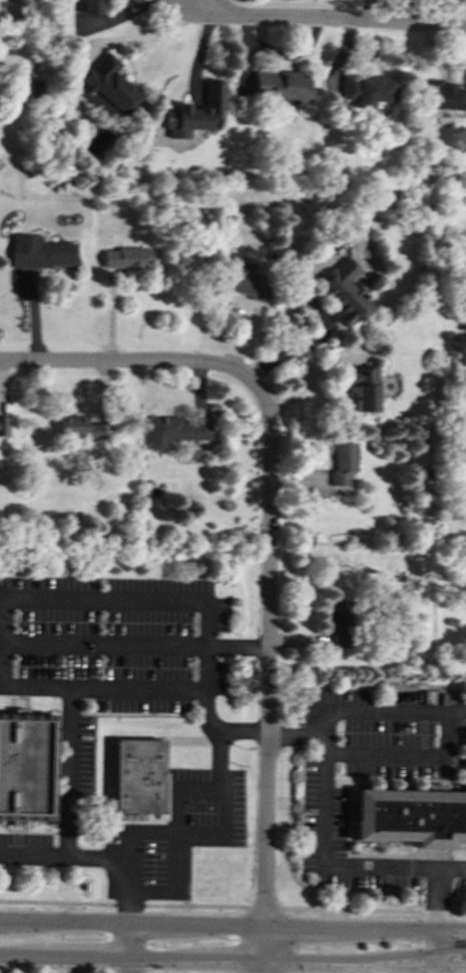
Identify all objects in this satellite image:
building: (95, 6)
road: (368, 11)
road: (332, 20)
building: (281, 85)
building: (107, 87)
building: (367, 90)
building: (443, 96)
building: (199, 110)
building: (178, 132)
building: (41, 252)
building: (126, 257)
building: (246, 283)
building: (344, 292)
road: (131, 362)
building: (363, 386)
building: (3, 426)
building: (81, 428)
building: (176, 430)
building: (343, 462)
road: (161, 598)
building: (339, 624)
road: (5, 641)
parking lot: (118, 642)
road: (107, 644)
road: (268, 673)
road: (128, 689)
road: (354, 710)
road: (241, 732)
road: (405, 753)
building: (26, 766)
building: (138, 776)
parking lot: (385, 789)
road: (192, 791)
parking lot: (60, 799)
road: (222, 814)
building: (413, 814)
parking lot: (177, 835)
road: (69, 836)
road: (201, 837)
road: (34, 854)
road: (330, 863)
road: (180, 890)
road: (233, 906)
road: (438, 909)
road: (232, 929)
road: (127, 950)
road: (397, 957)
road: (233, 963)
road: (263, 968)
road: (438, 970)

